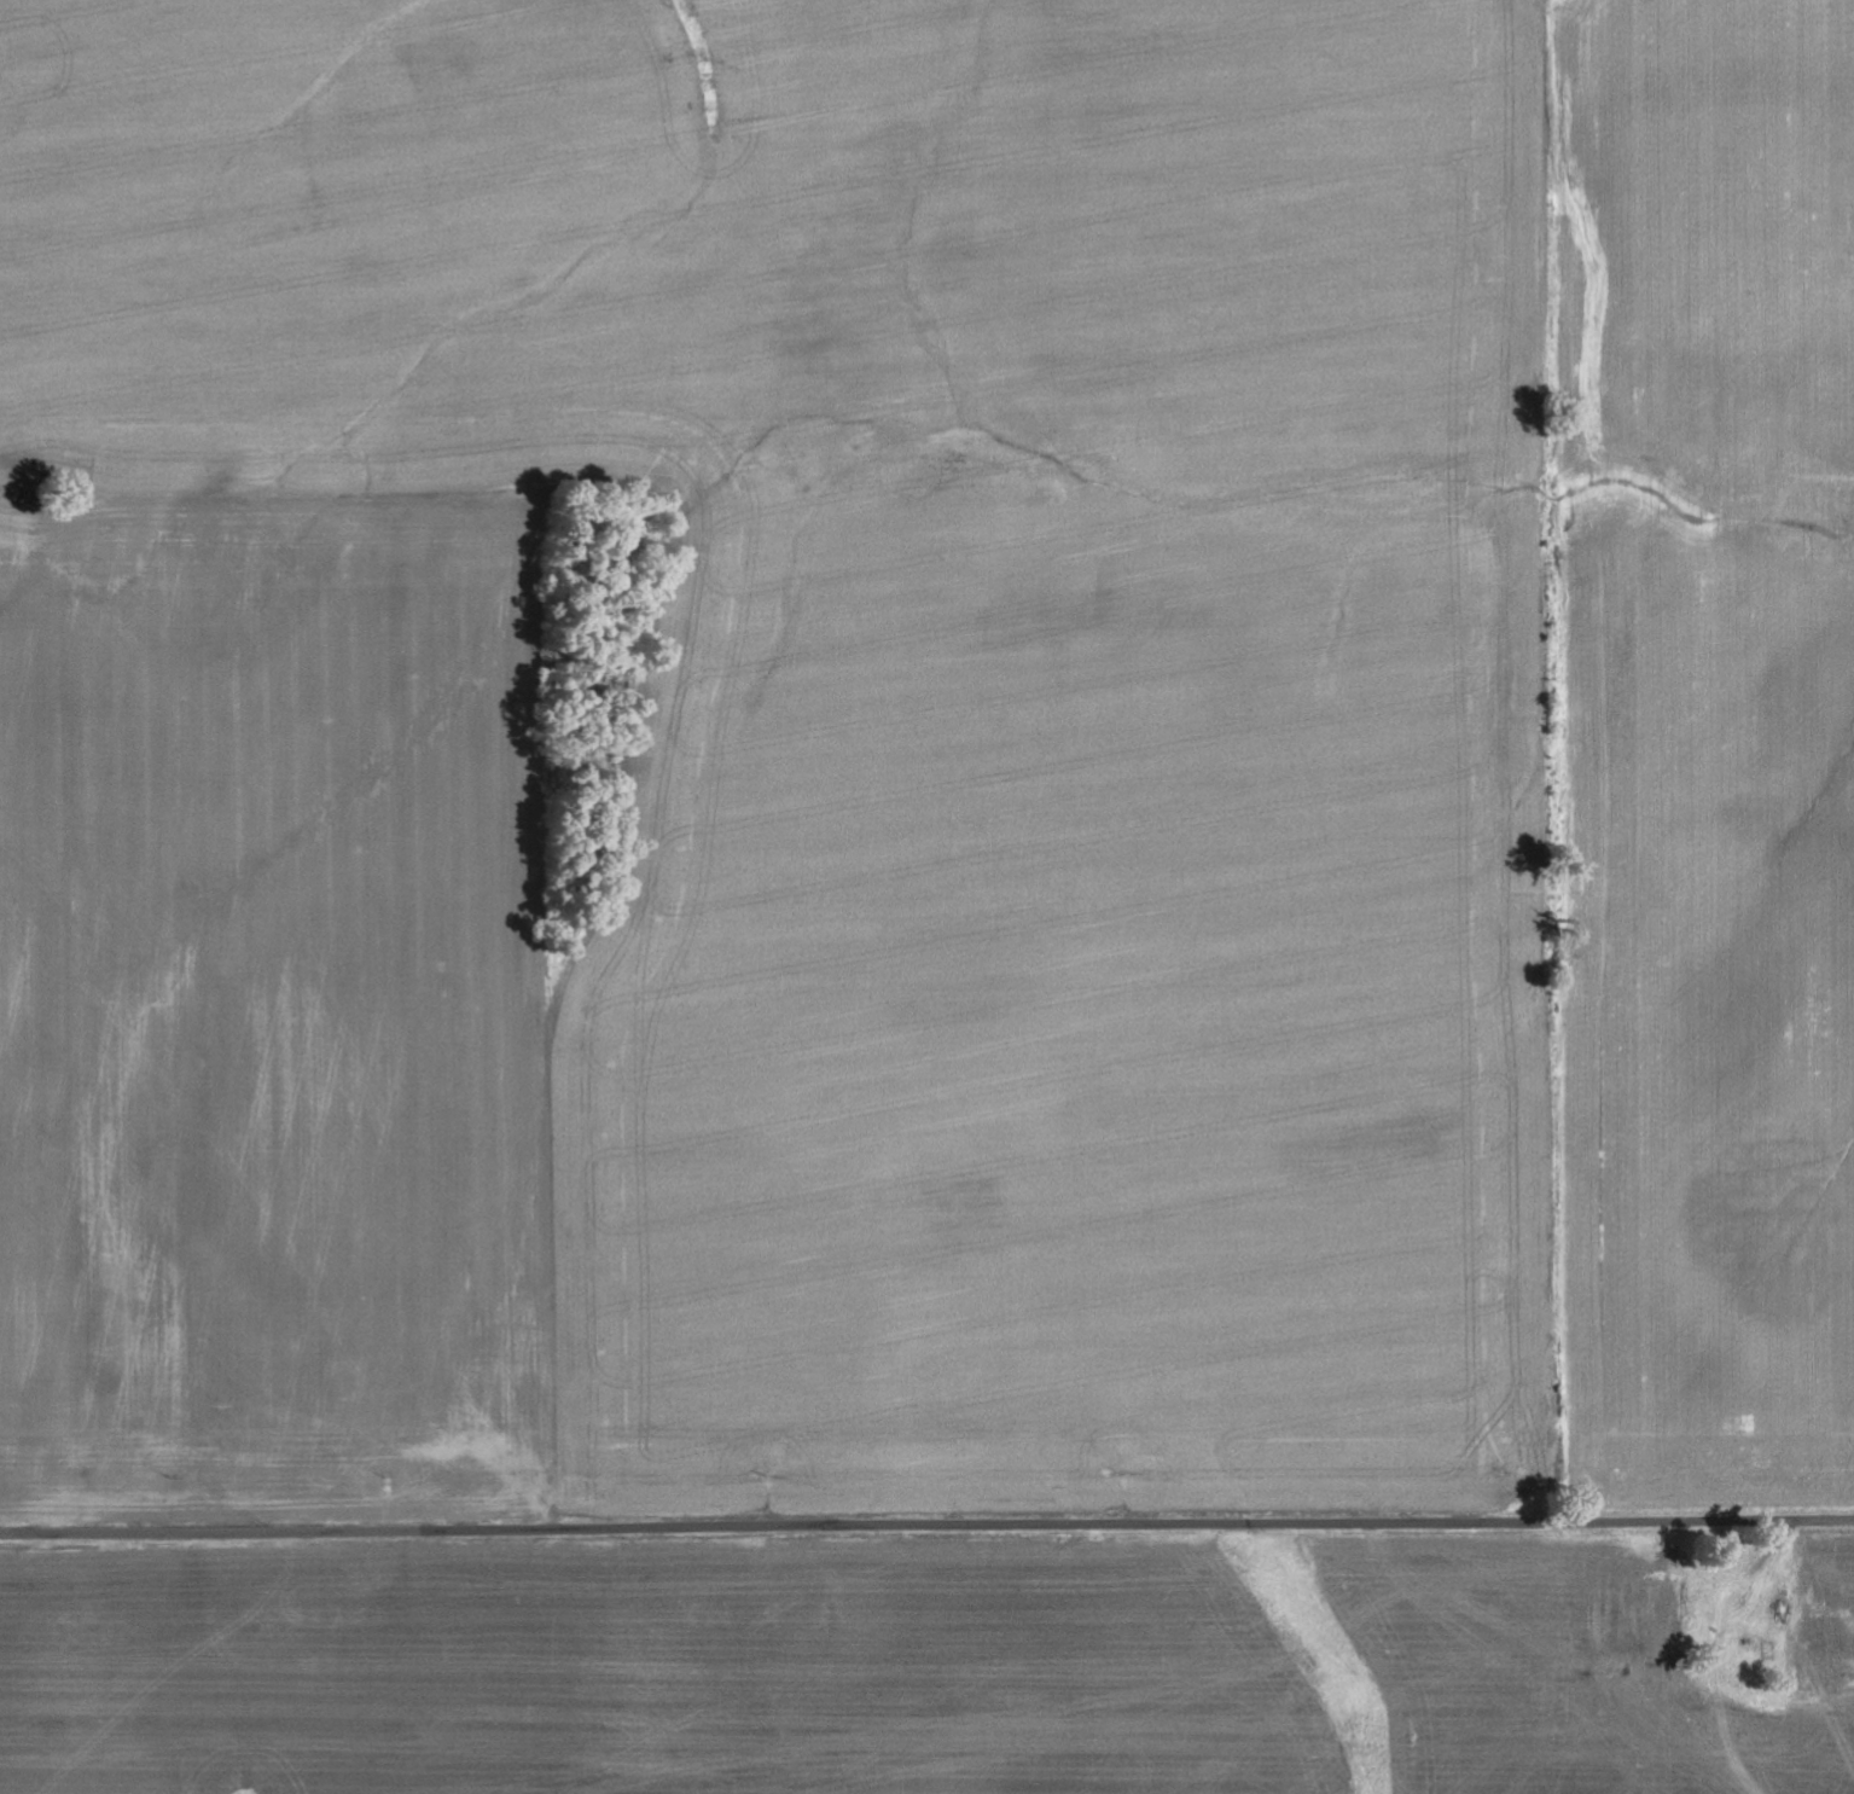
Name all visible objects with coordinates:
road: (926, 1522)

